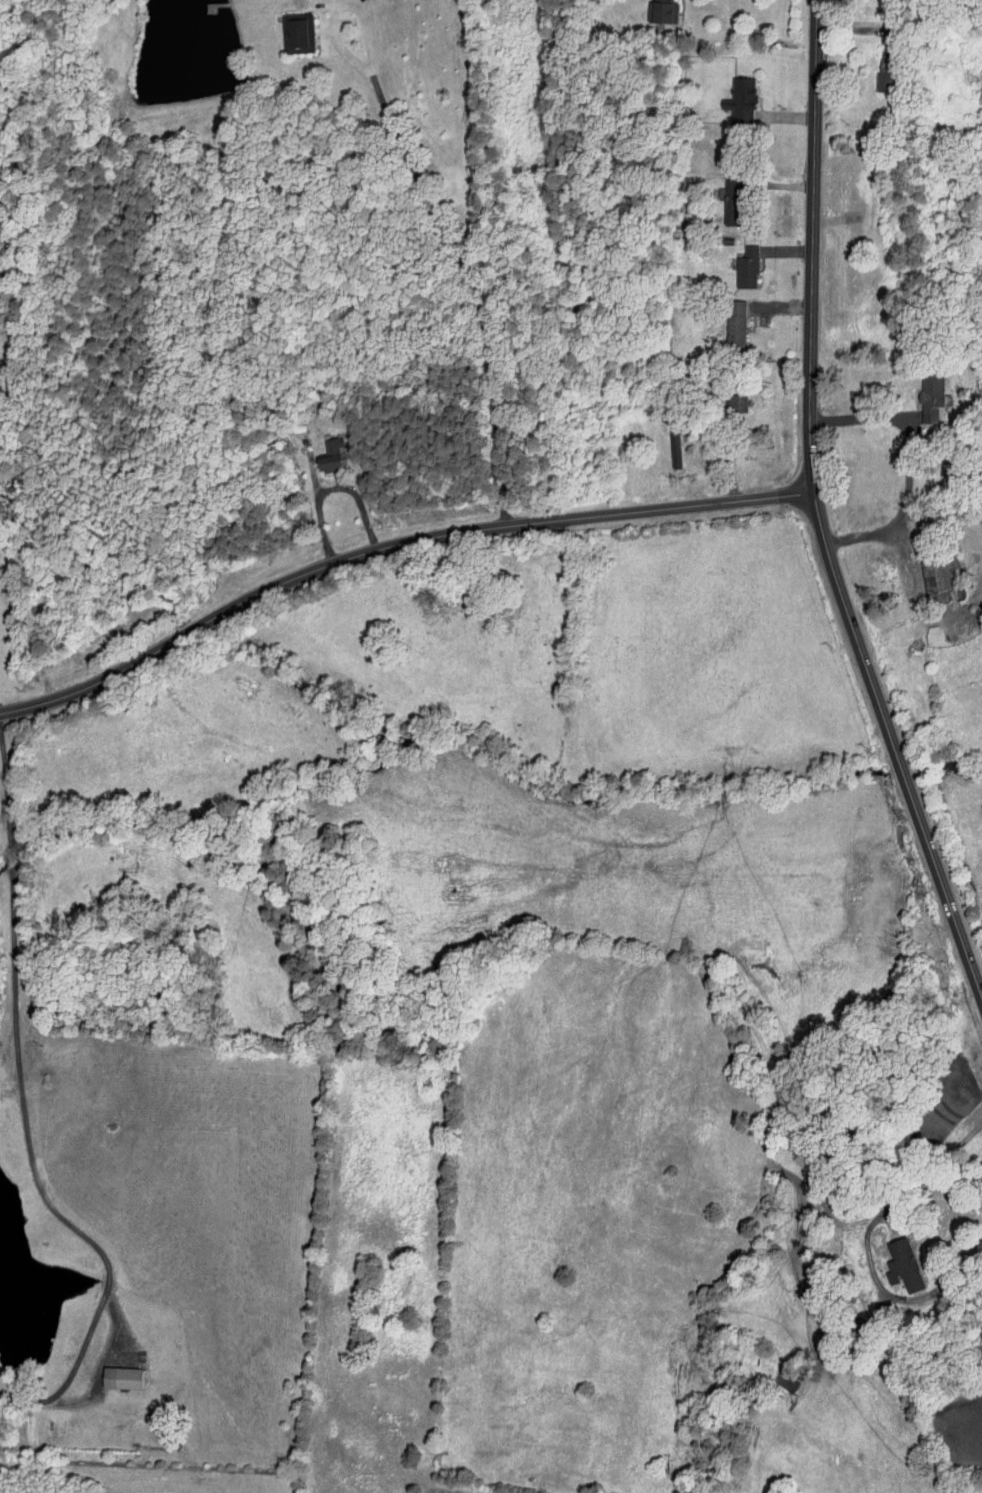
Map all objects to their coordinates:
building: (658, 11)
building: (295, 33)
building: (883, 72)
building: (739, 101)
road: (436, 211)
building: (745, 268)
building: (733, 325)
building: (930, 397)
building: (736, 404)
road: (872, 421)
building: (673, 451)
building: (327, 456)
road: (330, 488)
road: (903, 509)
road: (818, 512)
road: (389, 545)
road: (82, 656)
road: (11, 930)
road: (867, 1239)
road: (106, 1264)
building: (902, 1266)
building: (118, 1377)

